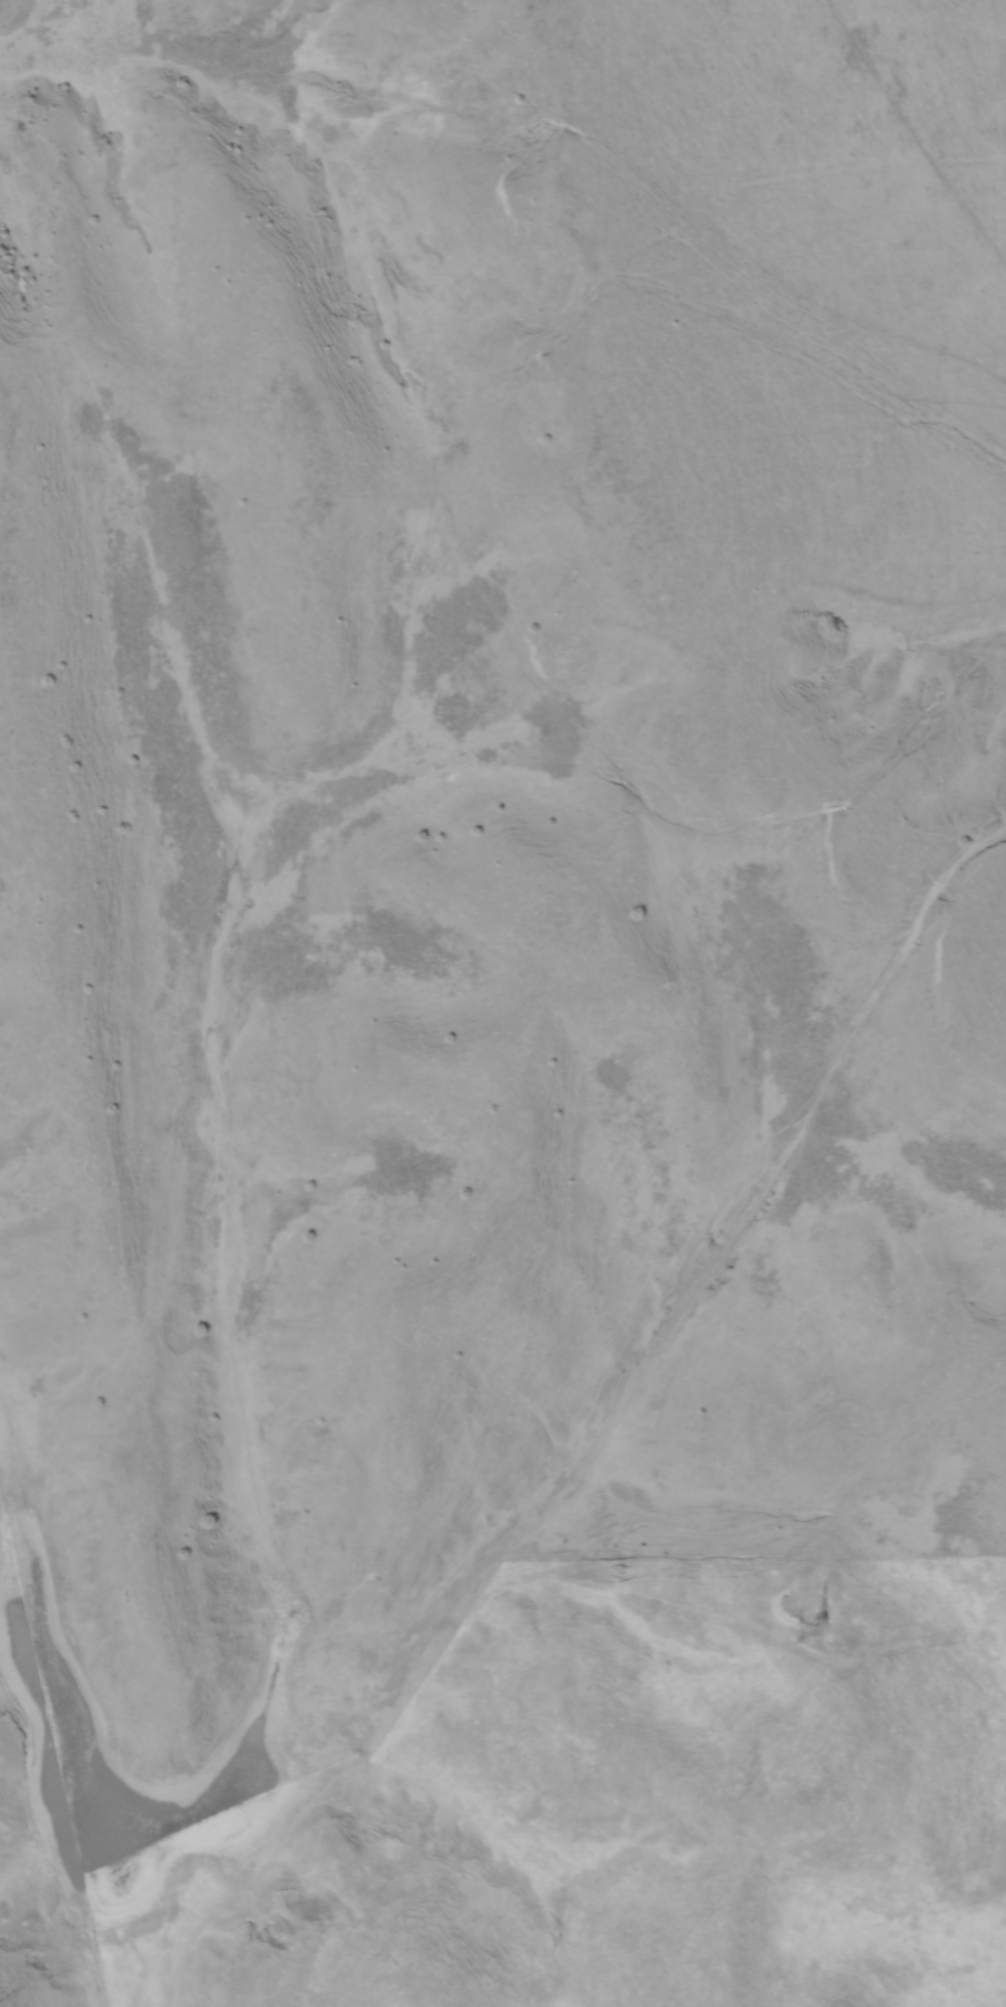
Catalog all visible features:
power tower: (826, 1631)

